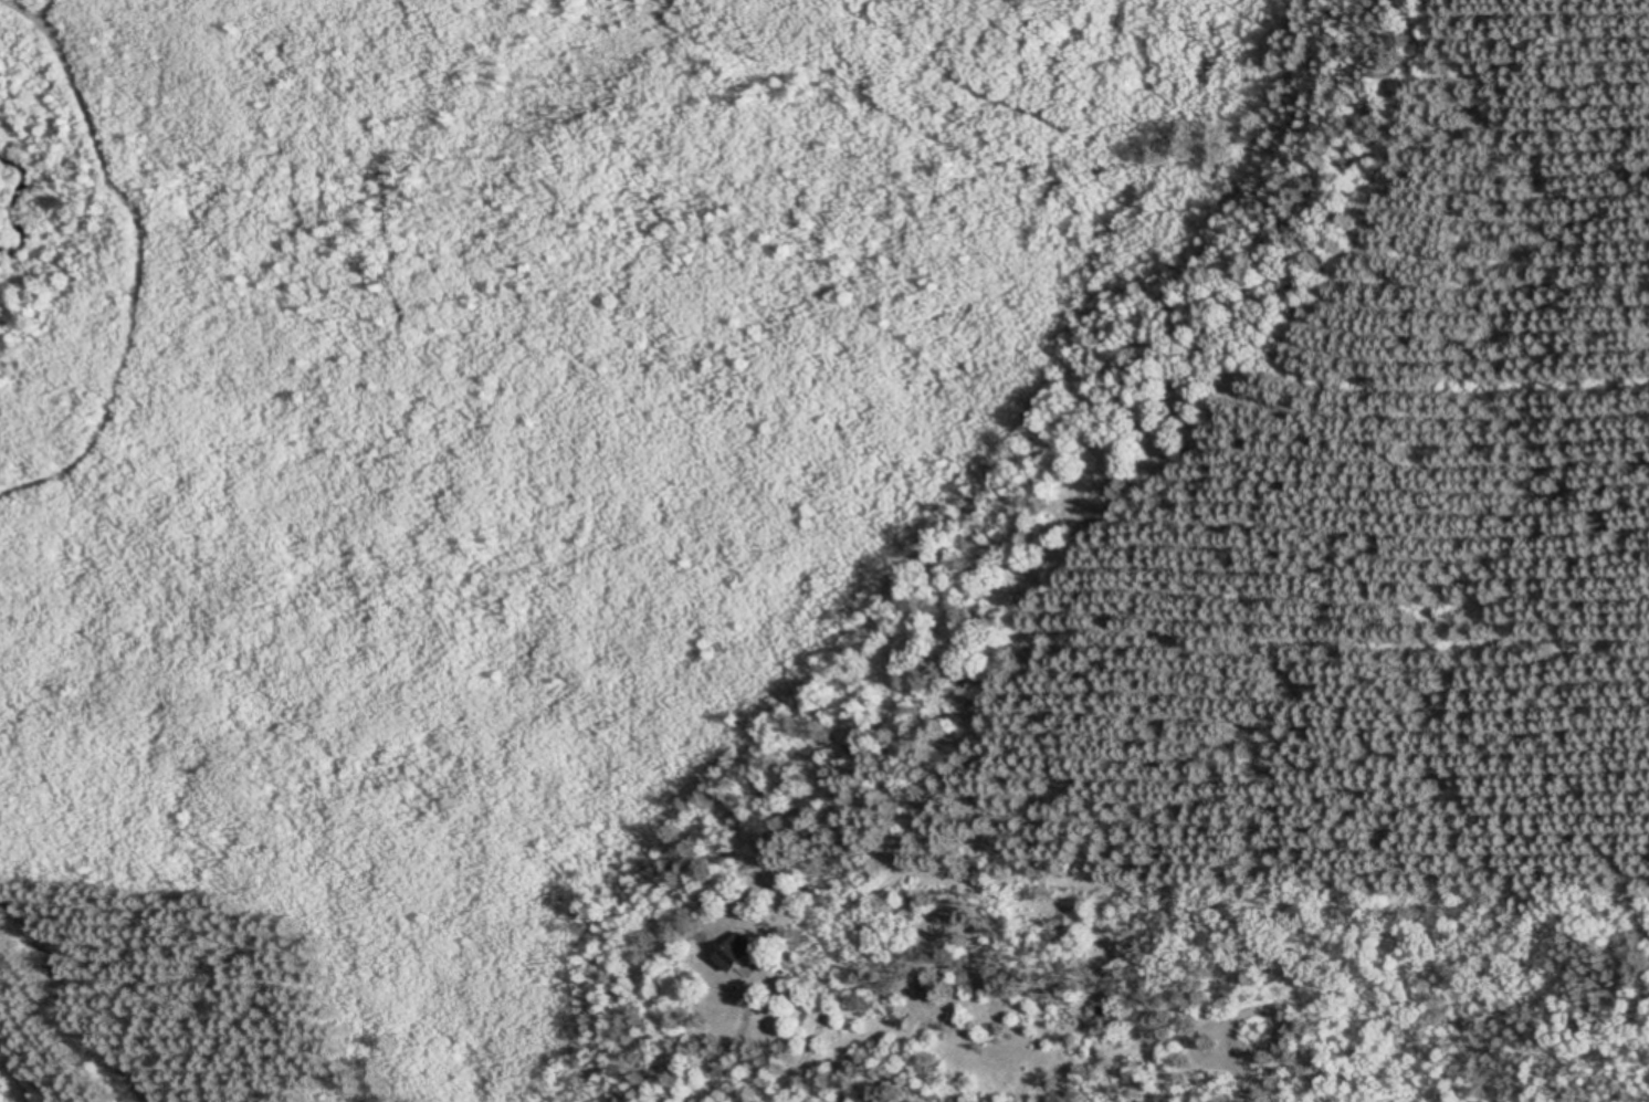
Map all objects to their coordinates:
road: (144, 265)
building: (742, 953)
road: (69, 999)

